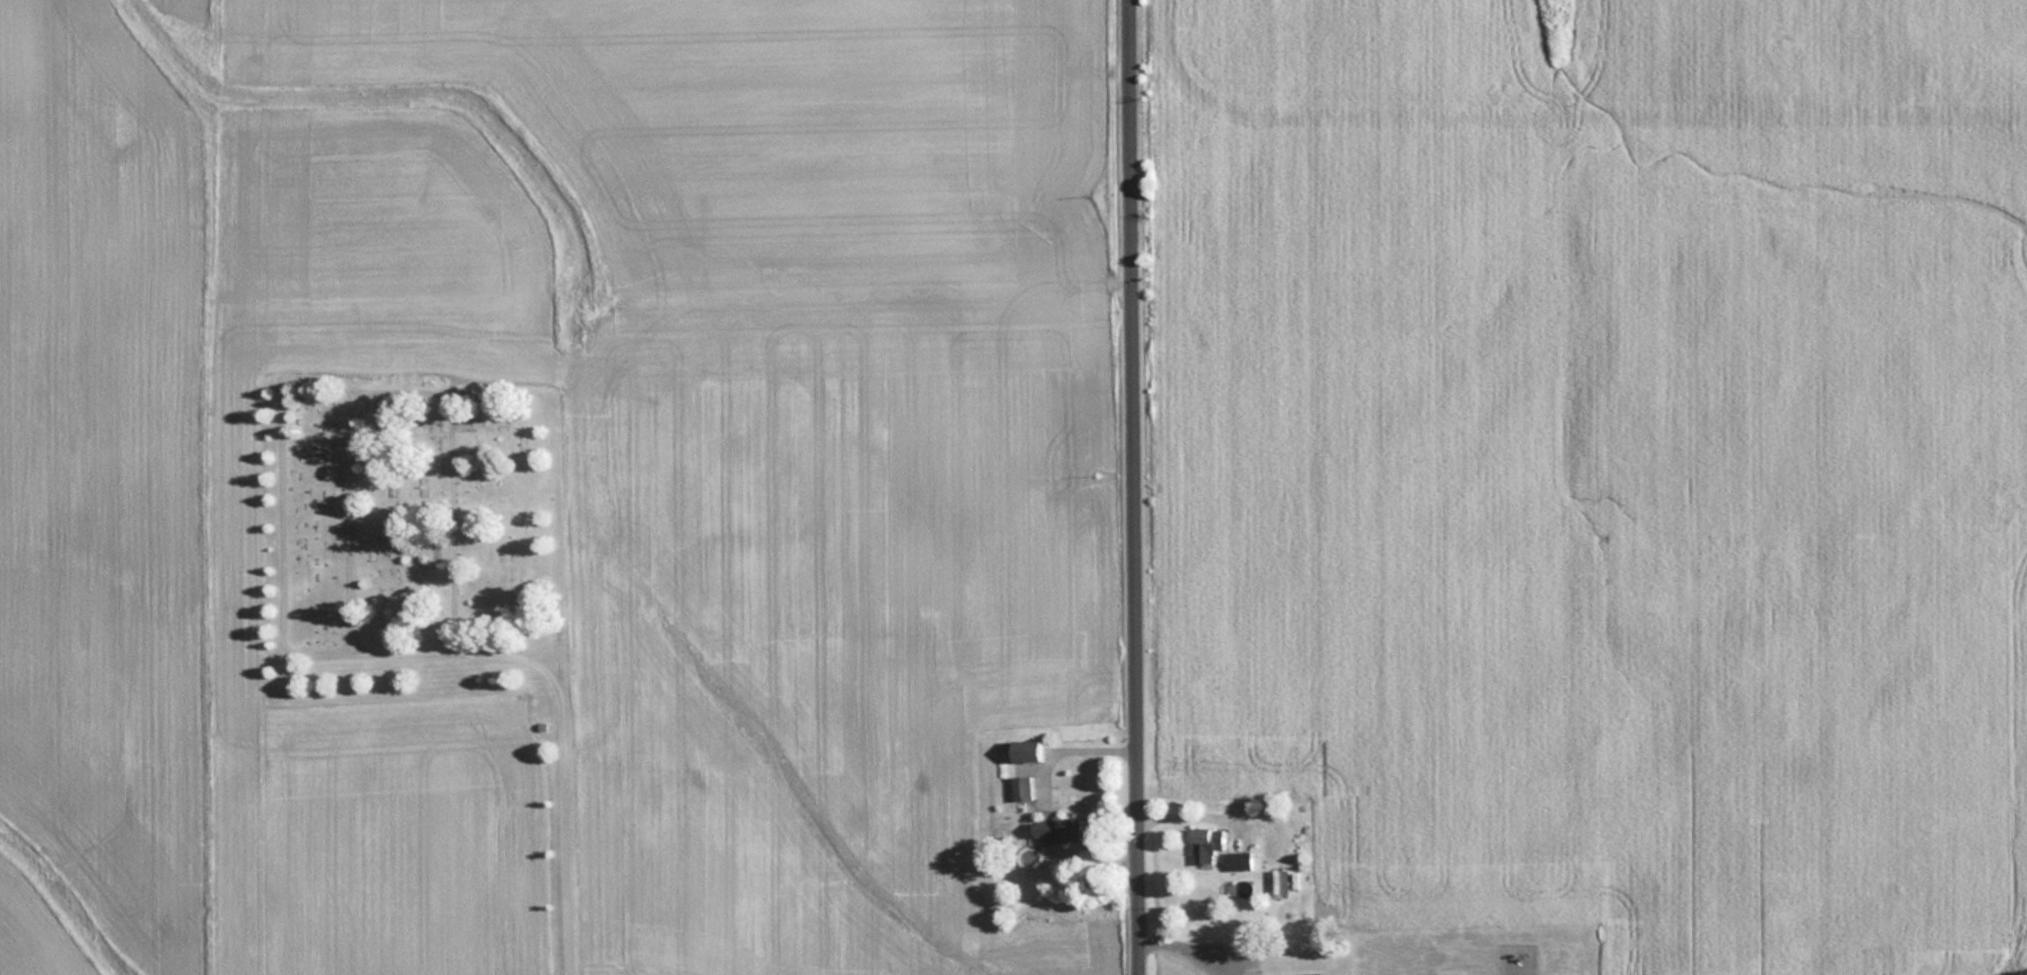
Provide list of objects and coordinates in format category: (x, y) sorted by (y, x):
road: (1131, 487)
park: (413, 534)
road: (566, 731)
building: (1023, 750)
building: (1021, 787)
building: (1055, 829)
building: (1203, 845)
building: (1238, 861)

